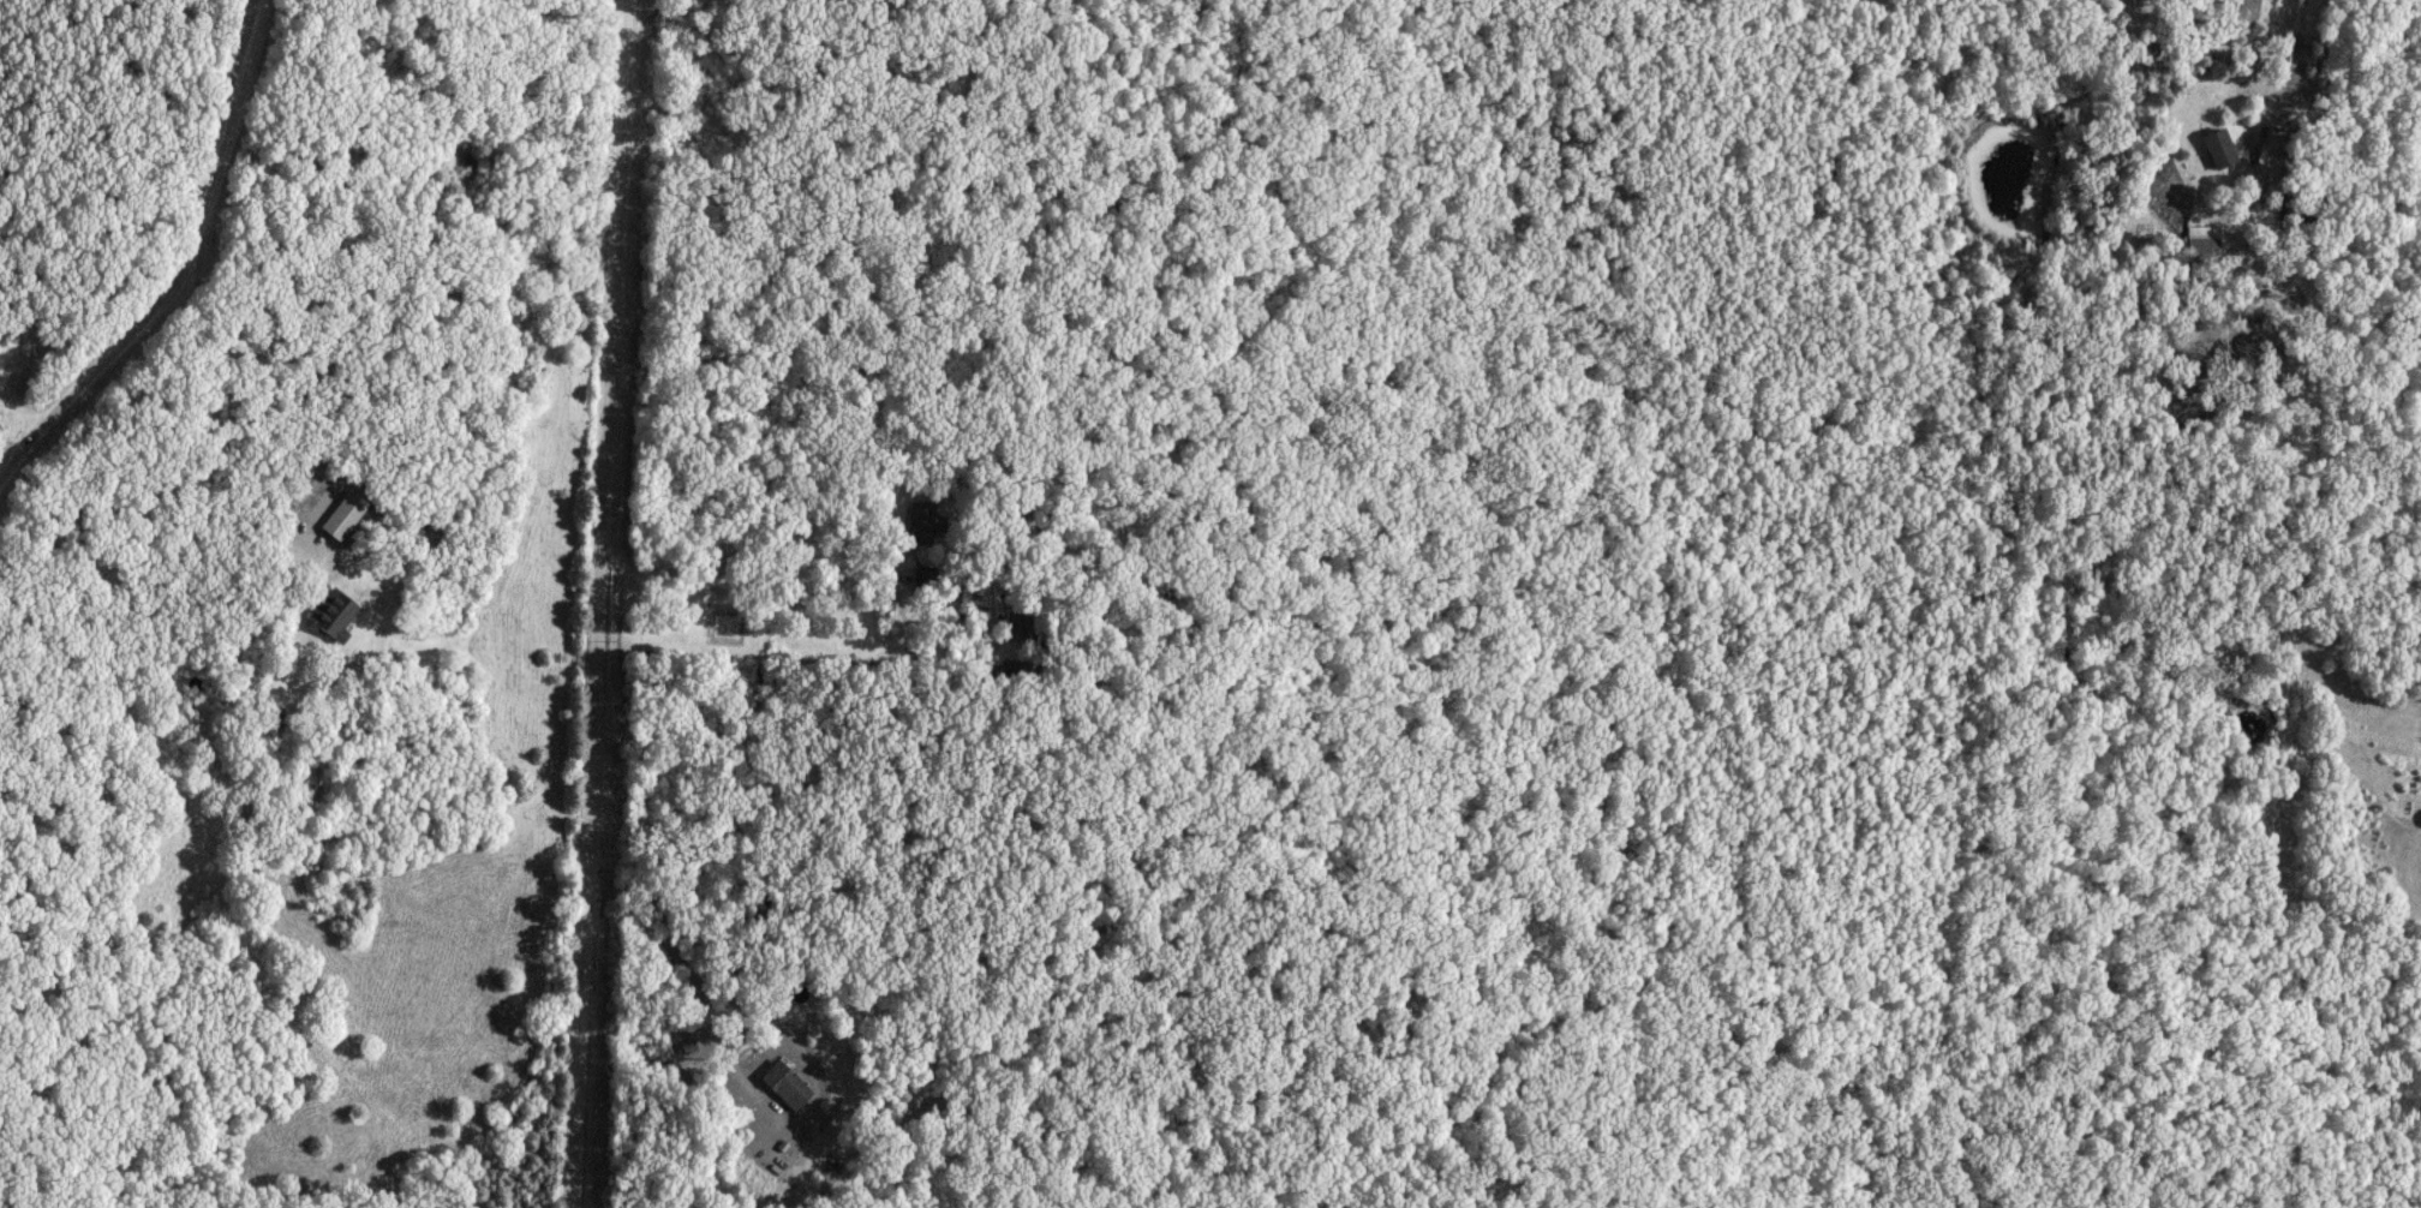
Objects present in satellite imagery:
road: (2272, 77)
building: (2223, 149)
building: (2204, 250)
road: (184, 269)
road: (22, 413)
road: (225, 436)
building: (346, 515)
building: (420, 525)
road: (749, 600)
road: (597, 604)
building: (336, 614)
road: (745, 640)
road: (693, 992)
building: (788, 1086)

